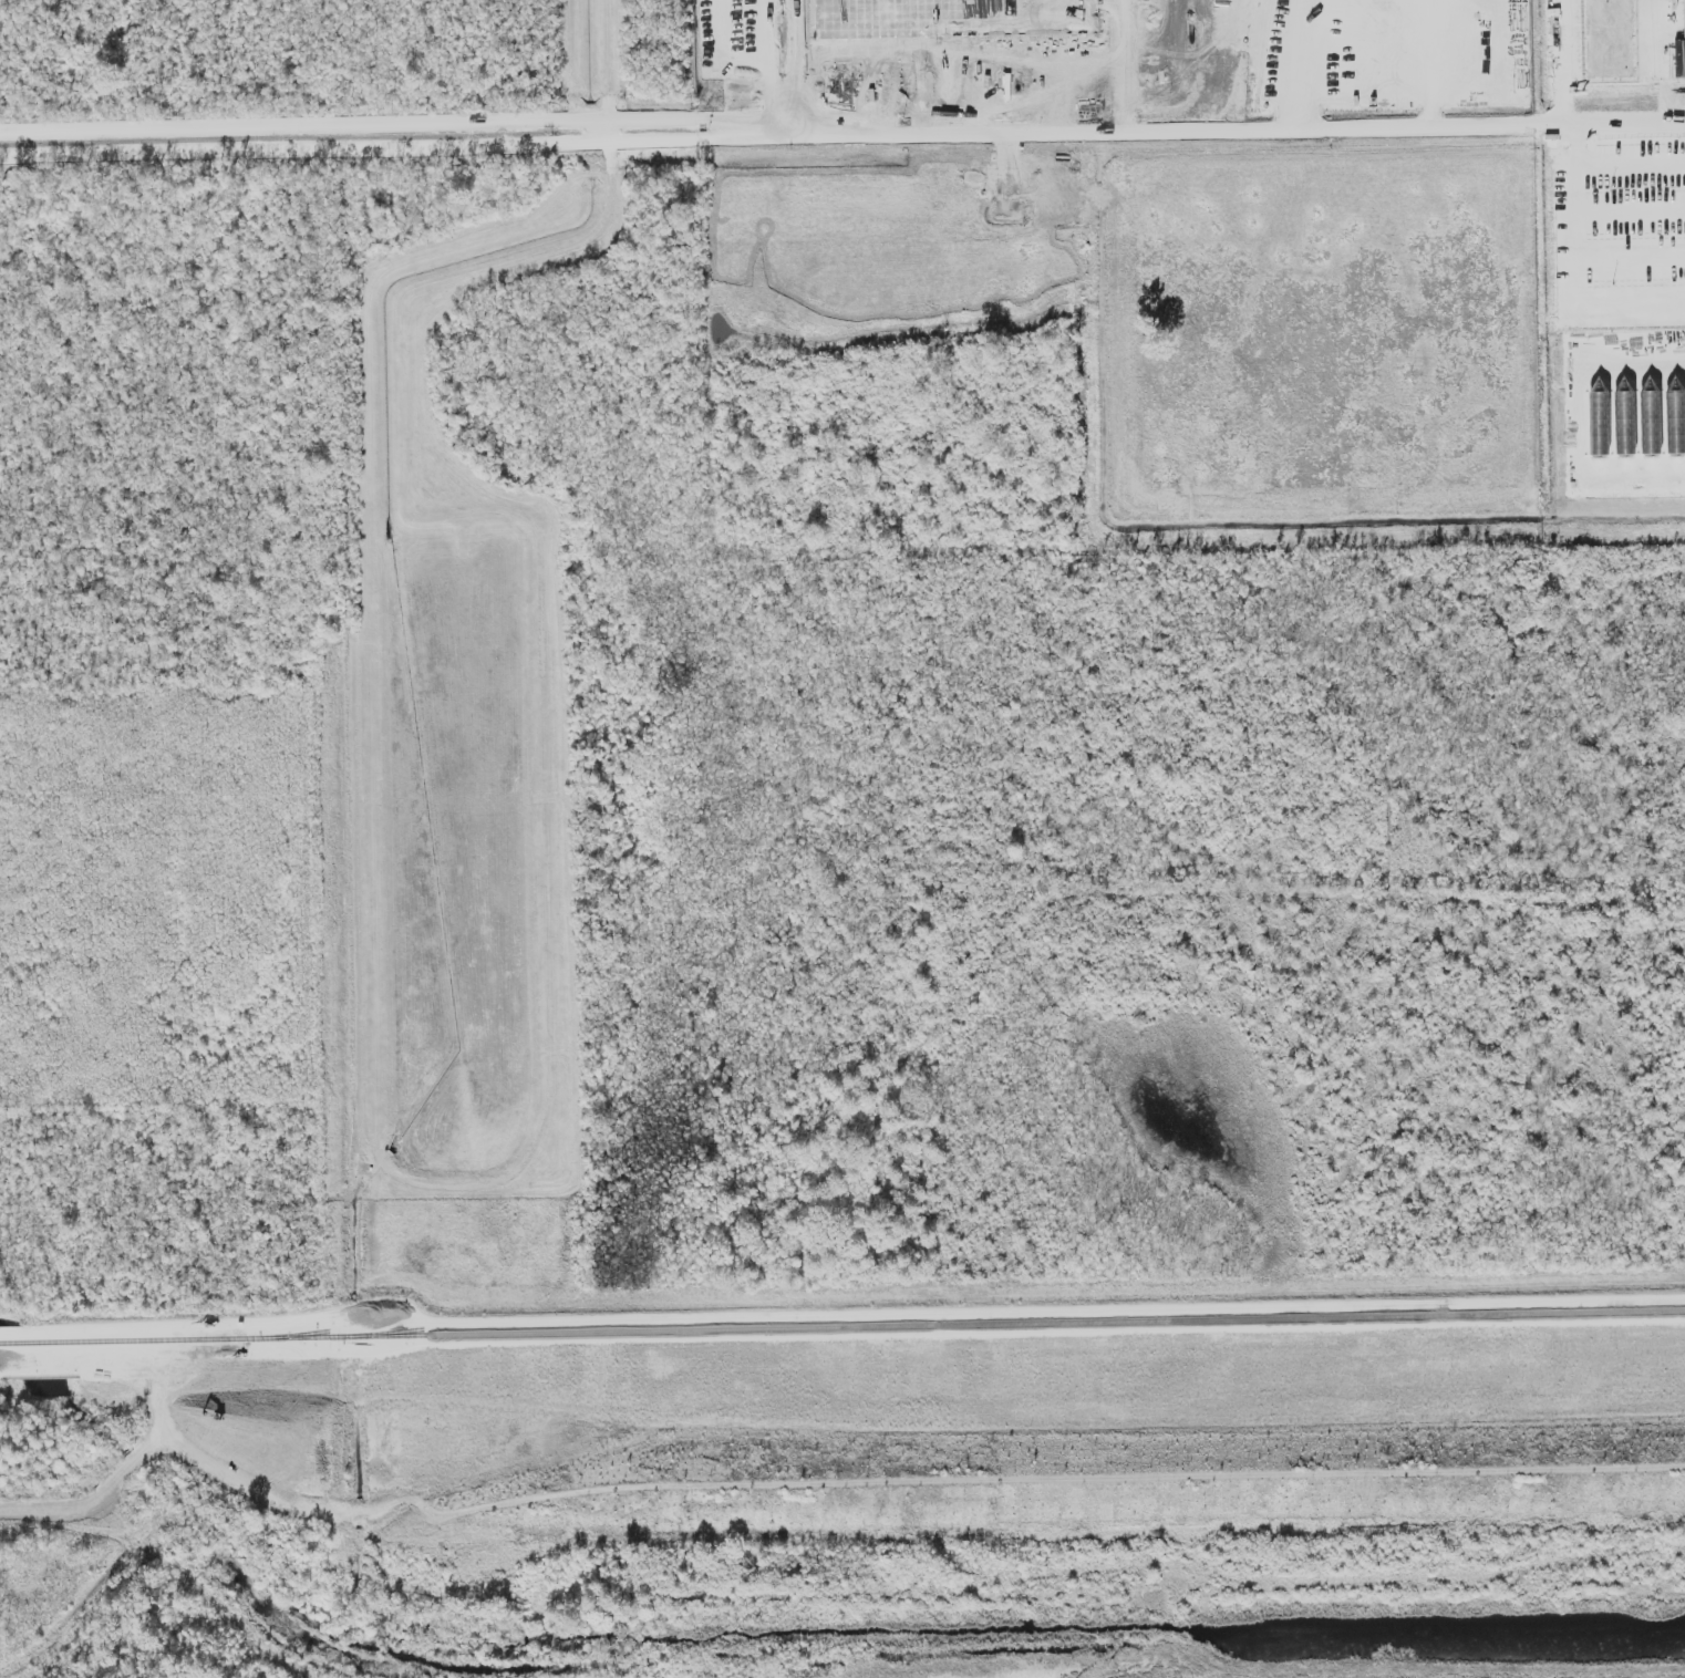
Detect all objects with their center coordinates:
building: (1684, 14)
road: (1677, 124)
road: (1279, 132)
road: (805, 135)
railway: (842, 1326)
river: (787, 1633)

